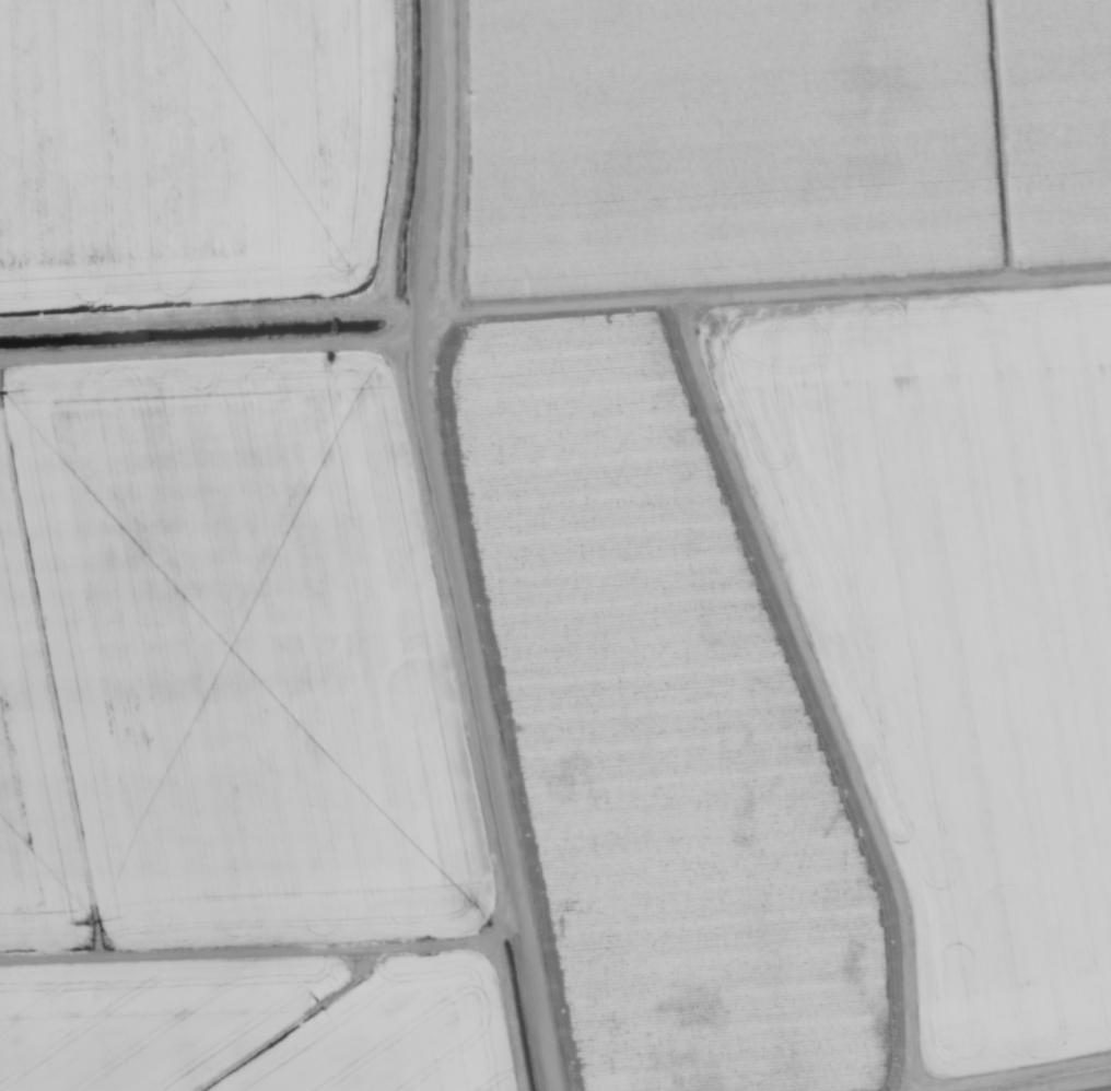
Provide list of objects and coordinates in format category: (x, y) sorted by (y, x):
road: (448, 549)

